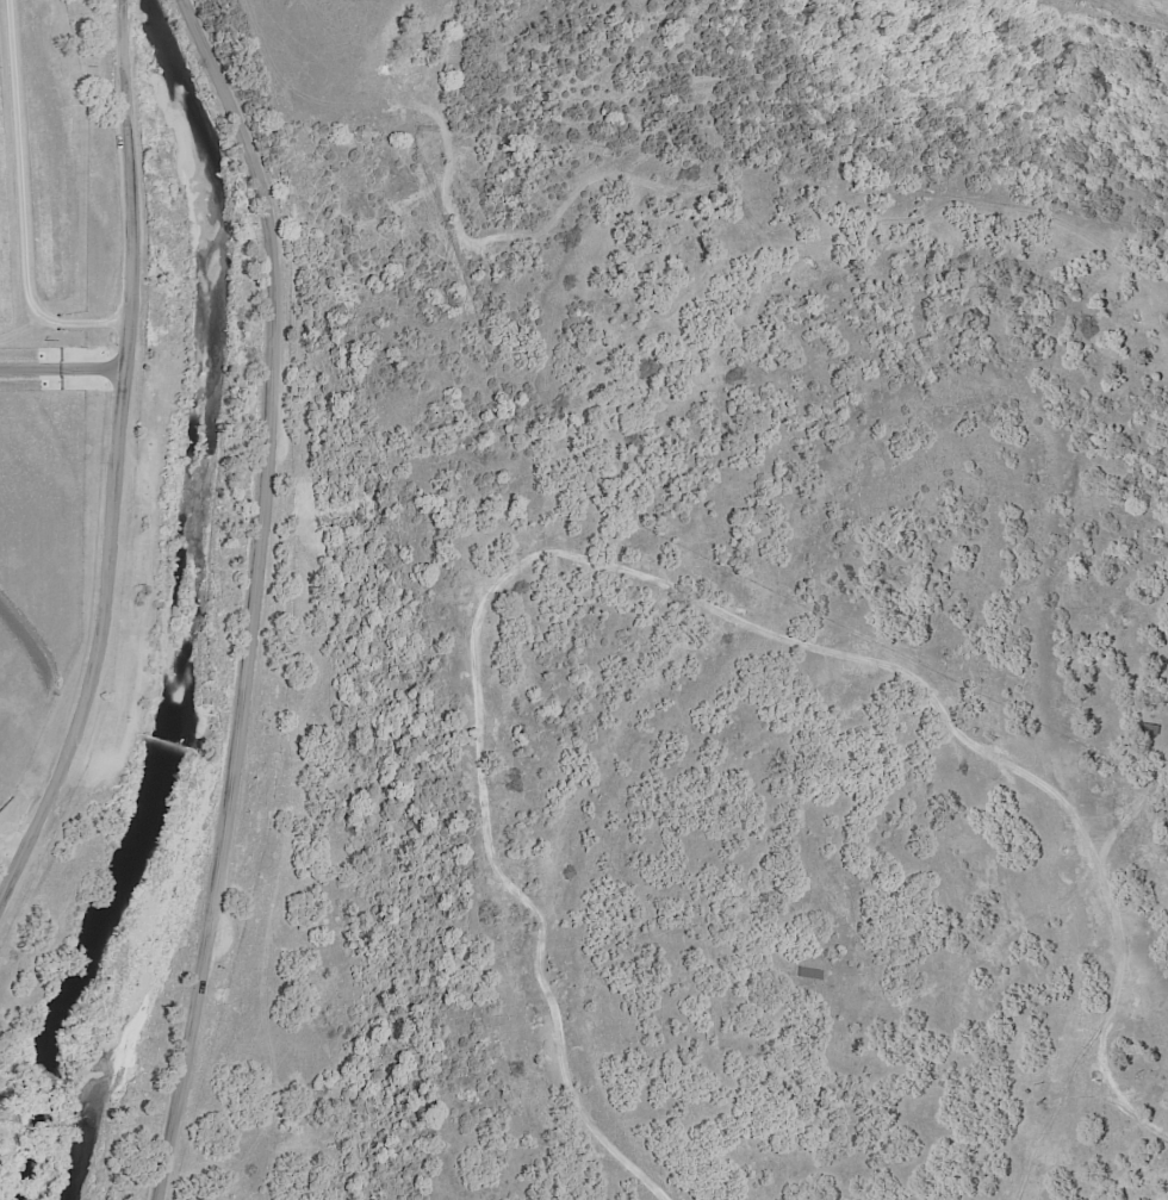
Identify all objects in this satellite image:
road: (27, 200)
road: (61, 367)
road: (113, 456)
road: (254, 595)
building: (1150, 730)
road: (6, 869)
building: (808, 972)

